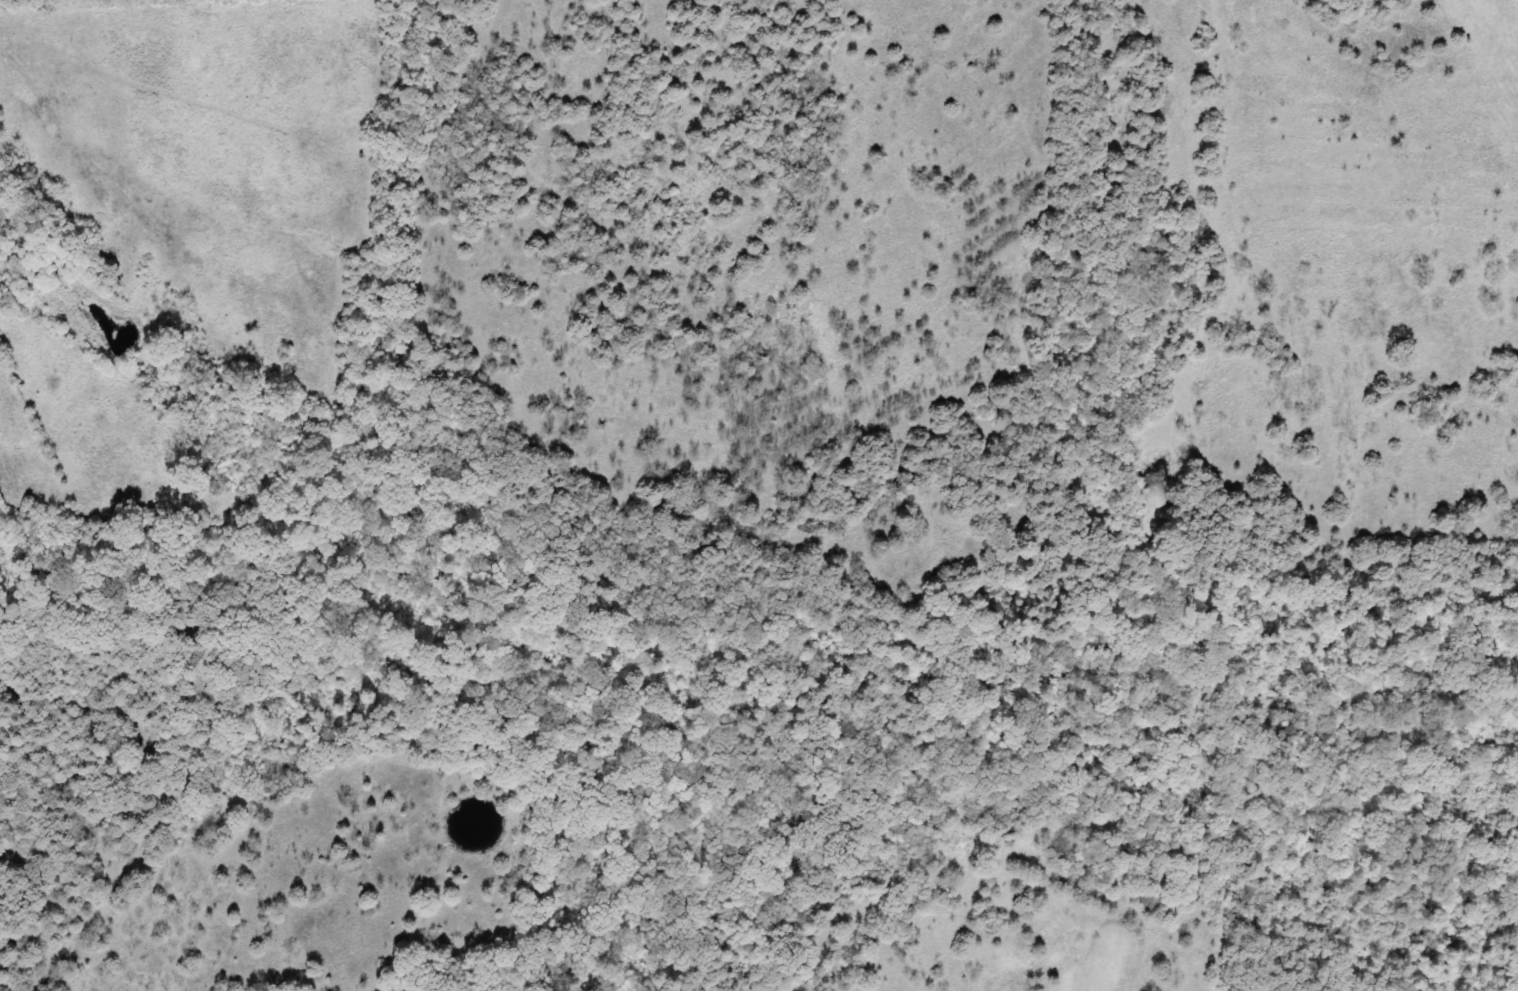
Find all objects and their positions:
airport runway: (1111, 961)

